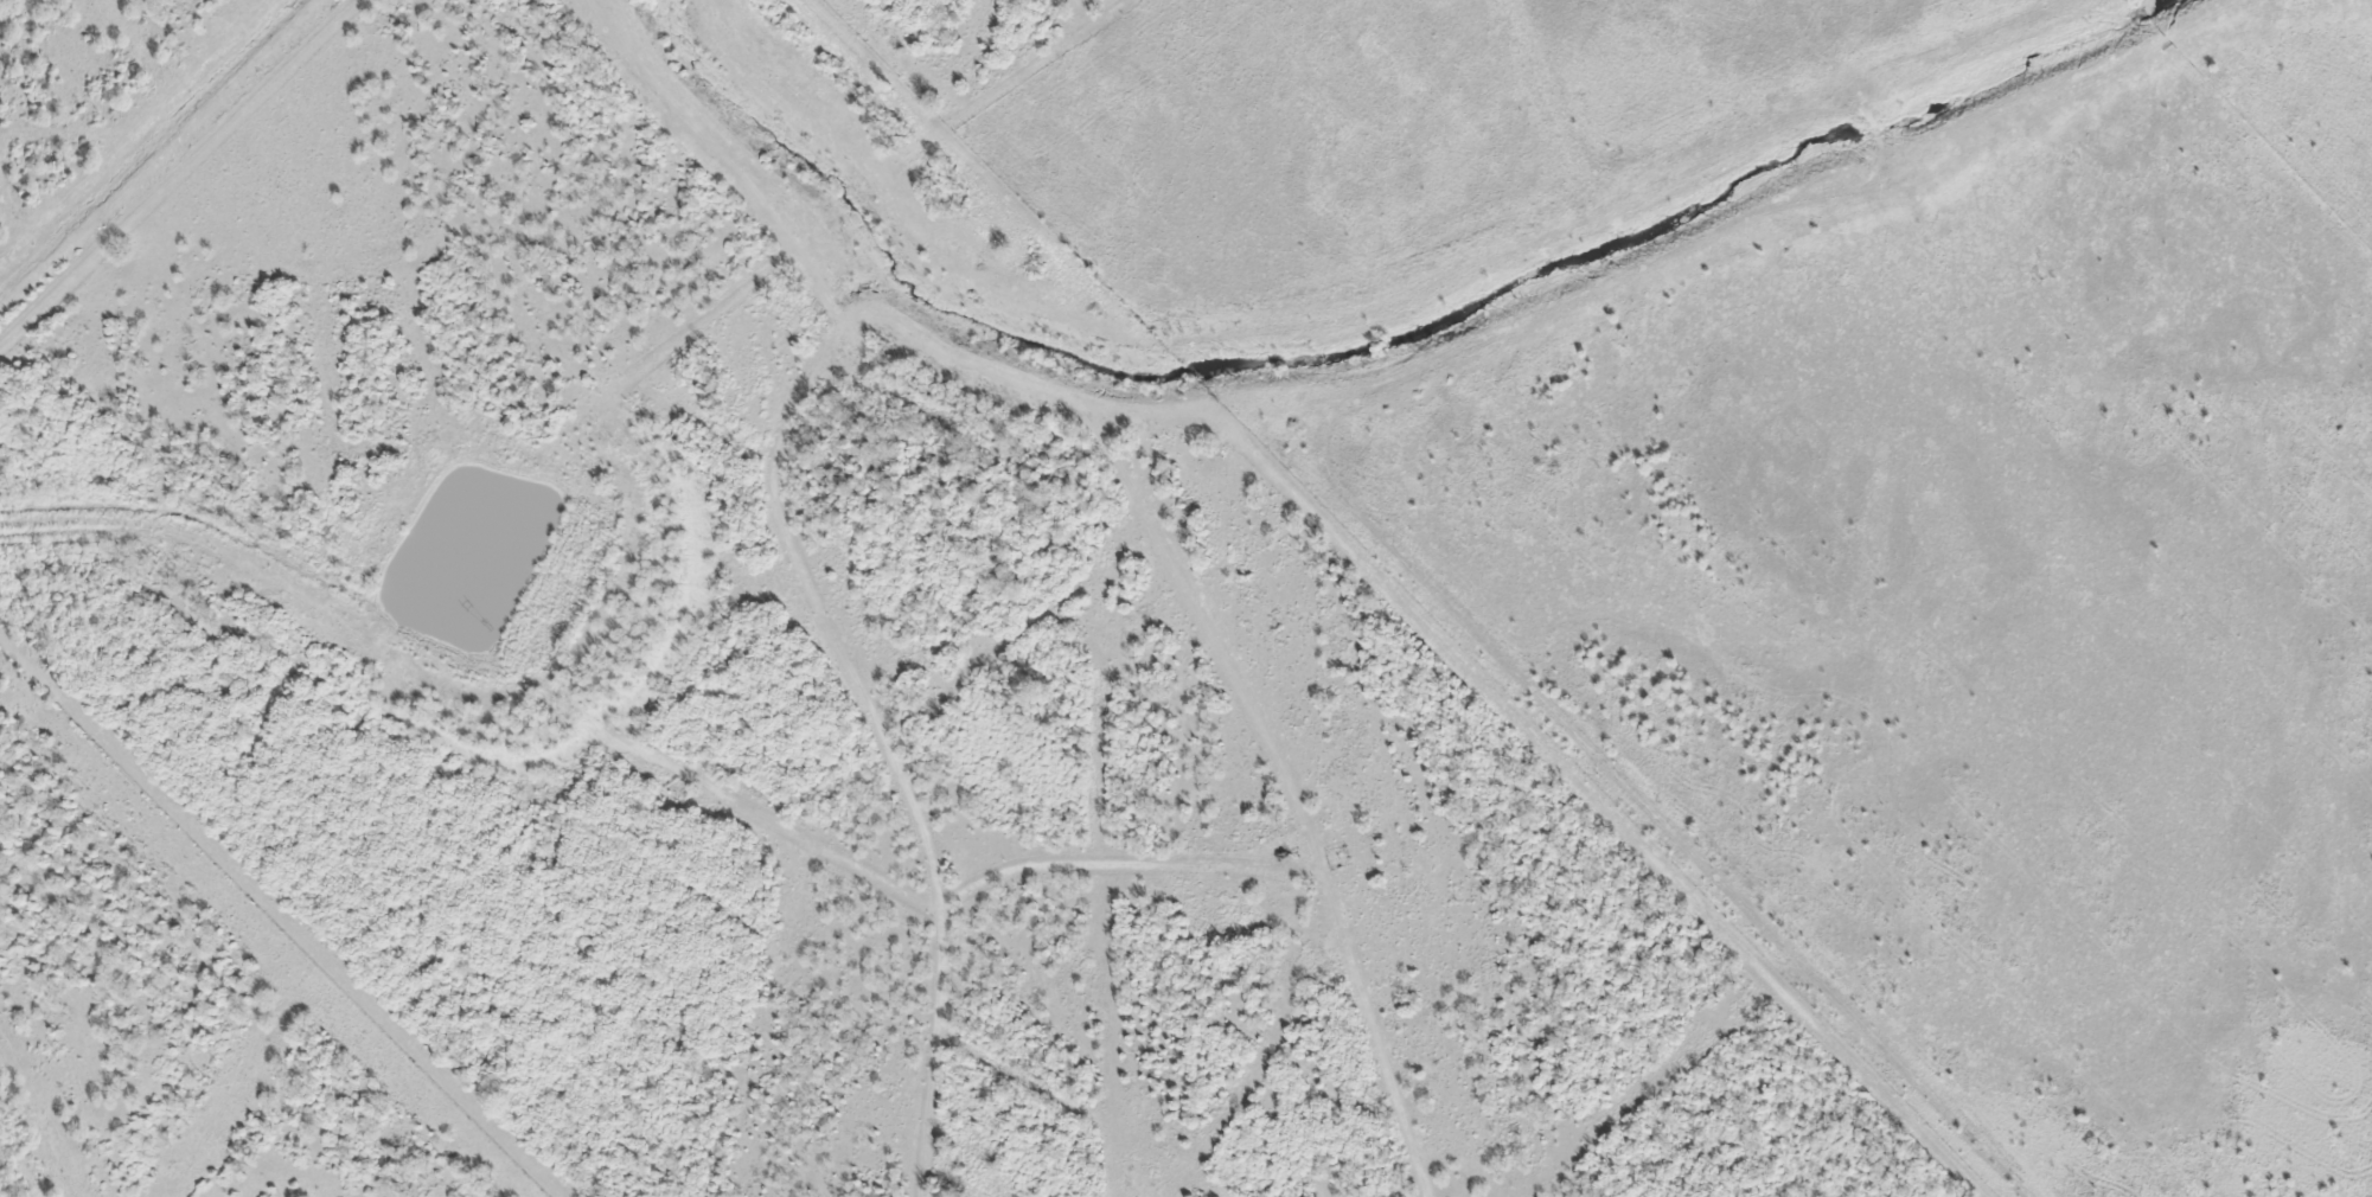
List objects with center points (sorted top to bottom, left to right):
road: (1952, 37)

